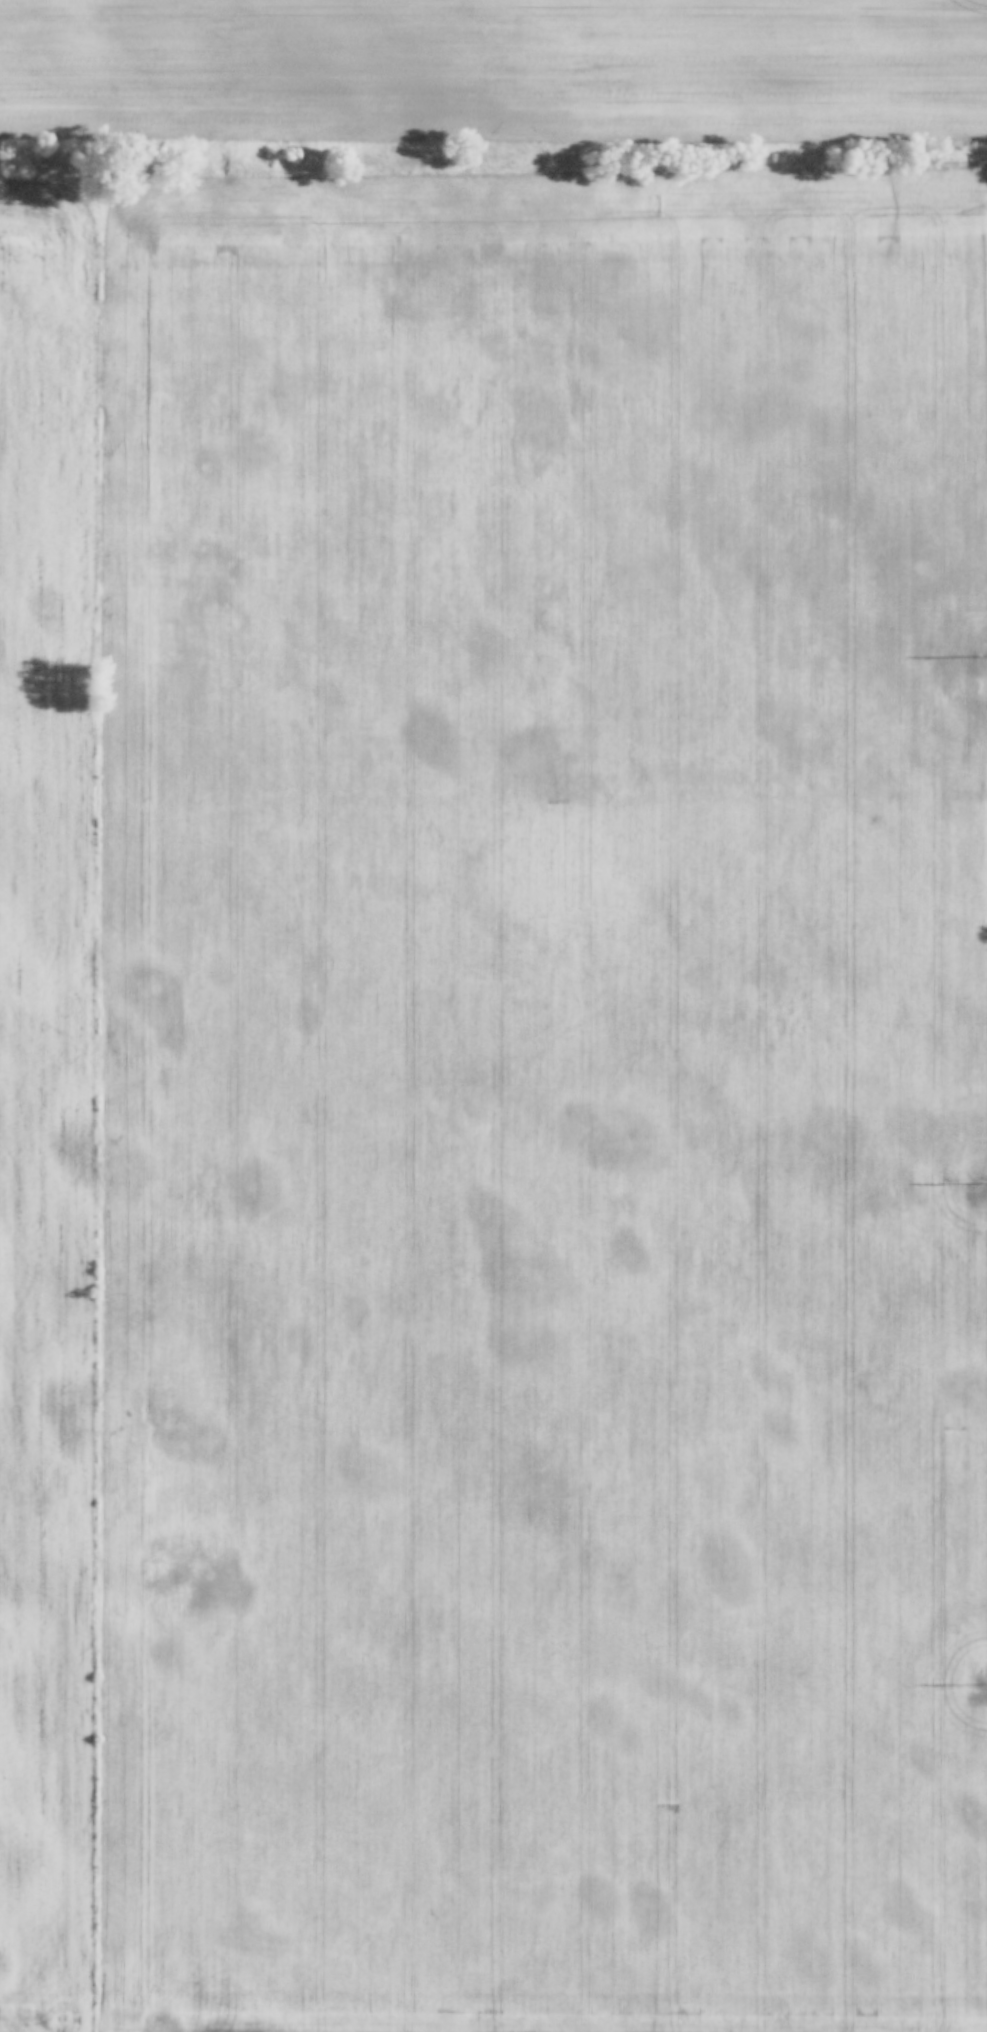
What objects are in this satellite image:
power tower: (984, 161)
power tower: (984, 654)

